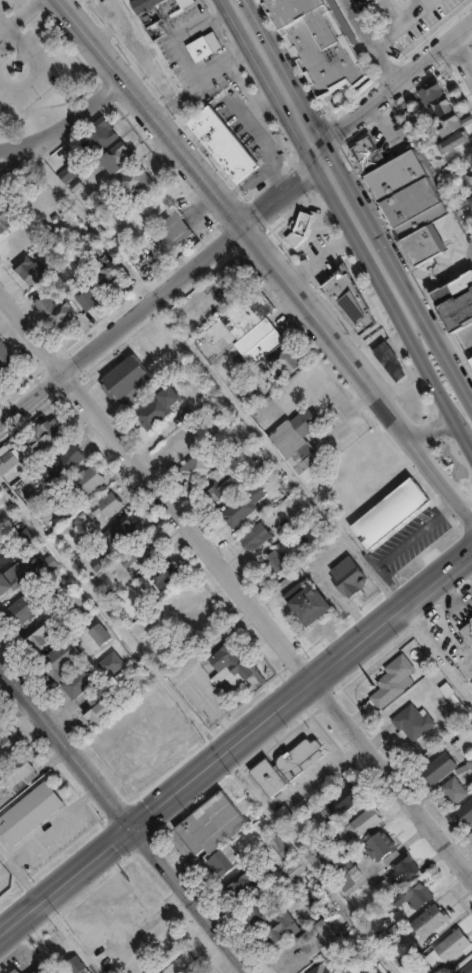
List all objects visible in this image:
building: (185, 2)
building: (152, 16)
road: (380, 38)
road: (465, 41)
building: (192, 42)
building: (323, 45)
building: (204, 46)
road: (381, 64)
park: (37, 69)
road: (393, 83)
building: (440, 105)
road: (66, 123)
building: (450, 123)
building: (93, 125)
building: (212, 135)
building: (453, 142)
building: (109, 150)
building: (118, 157)
road: (16, 160)
building: (60, 164)
building: (126, 175)
building: (468, 181)
road: (282, 191)
building: (404, 195)
building: (470, 200)
building: (3, 206)
road: (352, 212)
building: (159, 217)
building: (299, 228)
building: (13, 231)
road: (266, 256)
building: (15, 258)
building: (90, 259)
building: (26, 265)
building: (99, 272)
building: (231, 275)
building: (109, 283)
building: (90, 298)
building: (456, 300)
building: (345, 301)
building: (60, 310)
road: (121, 324)
building: (255, 328)
building: (471, 356)
building: (7, 357)
building: (392, 362)
building: (283, 364)
building: (130, 382)
building: (254, 398)
building: (160, 408)
building: (270, 424)
road: (441, 429)
building: (49, 439)
building: (303, 445)
building: (8, 465)
building: (64, 466)
building: (202, 467)
building: (87, 484)
building: (223, 485)
building: (273, 495)
building: (244, 507)
building: (107, 508)
building: (392, 514)
building: (122, 531)
building: (259, 537)
building: (19, 541)
road: (400, 547)
building: (141, 558)
building: (2, 559)
building: (276, 563)
building: (103, 564)
building: (166, 578)
building: (7, 579)
building: (356, 580)
road: (236, 583)
building: (135, 598)
building: (310, 602)
building: (22, 608)
building: (467, 633)
building: (101, 636)
building: (39, 638)
road: (437, 653)
building: (66, 656)
building: (226, 663)
building: (112, 666)
building: (78, 685)
building: (388, 686)
building: (447, 697)
building: (100, 710)
building: (1, 722)
building: (409, 724)
road: (235, 744)
building: (10, 748)
building: (295, 760)
building: (437, 766)
building: (18, 773)
building: (266, 781)
building: (452, 788)
building: (340, 803)
building: (465, 811)
building: (28, 813)
road: (124, 817)
building: (282, 817)
building: (211, 824)
building: (361, 824)
building: (295, 835)
building: (469, 835)
road: (37, 838)
building: (277, 848)
building: (377, 848)
building: (224, 859)
building: (403, 868)
building: (295, 869)
building: (283, 870)
building: (4, 882)
building: (243, 888)
building: (386, 892)
building: (414, 899)
building: (311, 901)
building: (259, 917)
building: (430, 925)
building: (282, 936)
building: (315, 946)
building: (453, 949)
building: (181, 966)
building: (71, 967)
building: (369, 969)
building: (468, 970)
building: (12, 972)
building: (35, 972)
building: (329, 972)

